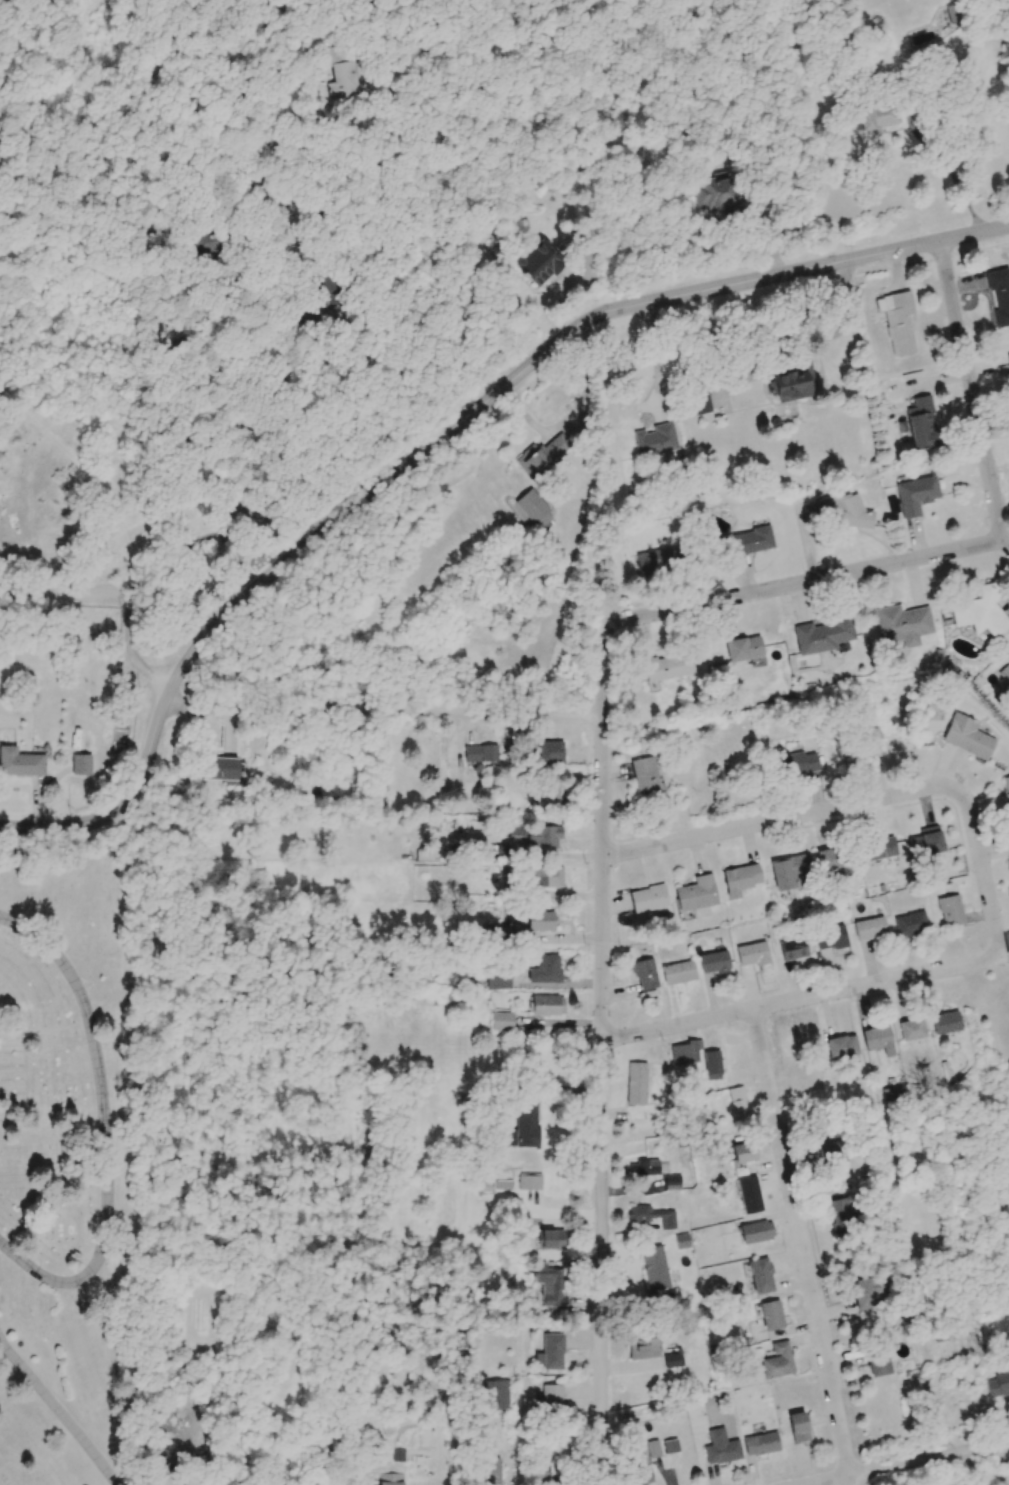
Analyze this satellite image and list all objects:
building: (58, 2)
road: (18, 68)
building: (343, 74)
building: (879, 117)
road: (913, 130)
building: (715, 195)
road: (399, 213)
building: (209, 243)
building: (536, 262)
building: (999, 295)
building: (897, 321)
road: (299, 347)
road: (654, 359)
road: (537, 360)
building: (1007, 360)
building: (793, 382)
road: (972, 394)
building: (700, 401)
road: (348, 408)
building: (922, 423)
building: (655, 440)
building: (543, 455)
building: (916, 495)
building: (533, 508)
building: (242, 511)
building: (844, 511)
building: (751, 540)
building: (657, 560)
road: (804, 582)
road: (61, 594)
building: (979, 612)
building: (902, 624)
building: (822, 635)
building: (743, 648)
road: (136, 649)
building: (667, 666)
building: (1005, 673)
road: (382, 709)
building: (967, 736)
building: (550, 752)
building: (481, 754)
building: (797, 761)
building: (20, 762)
building: (81, 764)
building: (220, 768)
building: (646, 776)
road: (140, 783)
building: (548, 791)
building: (1006, 791)
road: (780, 819)
road: (29, 826)
building: (516, 829)
building: (543, 835)
building: (925, 842)
building: (883, 848)
building: (832, 860)
road: (982, 871)
building: (790, 872)
building: (545, 876)
building: (740, 879)
building: (696, 893)
building: (648, 898)
building: (949, 910)
building: (540, 920)
building: (910, 924)
building: (869, 928)
building: (497, 934)
building: (831, 937)
building: (792, 948)
building: (752, 954)
building: (714, 962)
building: (545, 970)
building: (678, 972)
building: (644, 974)
building: (498, 979)
road: (799, 998)
building: (547, 1005)
building: (502, 1021)
building: (945, 1022)
building: (911, 1029)
building: (876, 1037)
building: (841, 1047)
building: (685, 1052)
road: (601, 1055)
building: (712, 1065)
building: (636, 1083)
building: (737, 1102)
building: (524, 1127)
road: (104, 1130)
building: (827, 1151)
building: (743, 1153)
park: (74, 1162)
building: (644, 1167)
building: (530, 1181)
building: (672, 1182)
building: (749, 1194)
building: (839, 1213)
building: (652, 1216)
building: (756, 1231)
building: (546, 1239)
building: (682, 1240)
road: (801, 1247)
building: (654, 1268)
building: (760, 1275)
building: (551, 1287)
building: (867, 1292)
building: (771, 1315)
building: (551, 1352)
building: (673, 1358)
building: (777, 1361)
building: (878, 1364)
building: (998, 1384)
building: (496, 1394)
building: (551, 1396)
road: (59, 1410)
building: (798, 1427)
building: (760, 1443)
building: (670, 1446)
building: (721, 1447)
building: (653, 1448)
building: (398, 1454)
road: (908, 1463)
building: (493, 1471)
building: (640, 1471)
building: (390, 1479)
building: (355, 1483)

